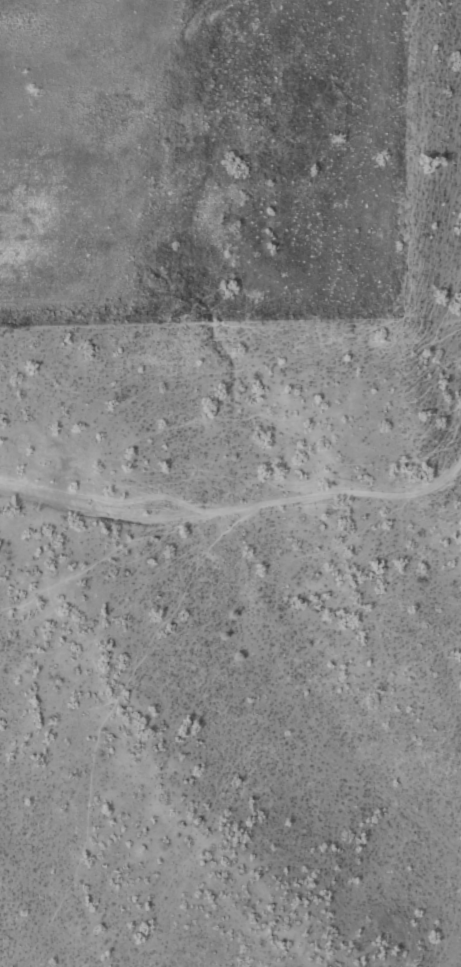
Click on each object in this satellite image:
road: (242, 510)

